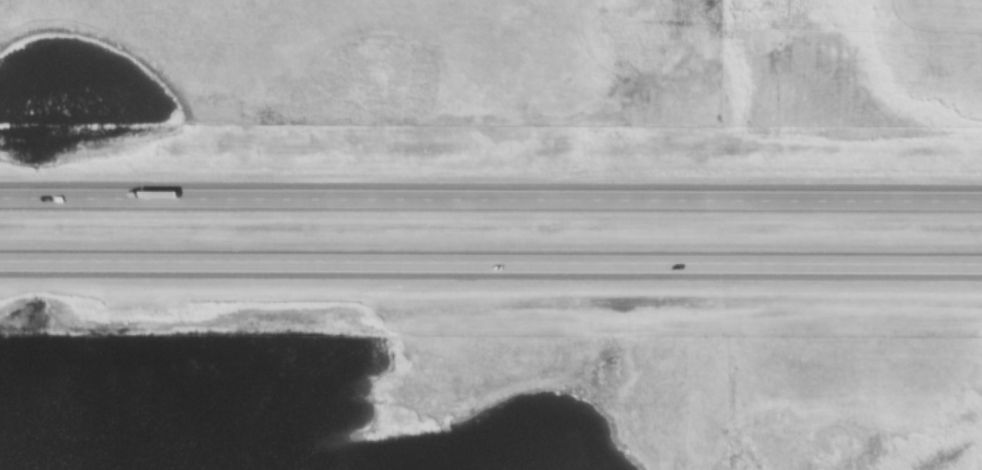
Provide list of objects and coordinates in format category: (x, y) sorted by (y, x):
road: (491, 202)
road: (491, 268)

